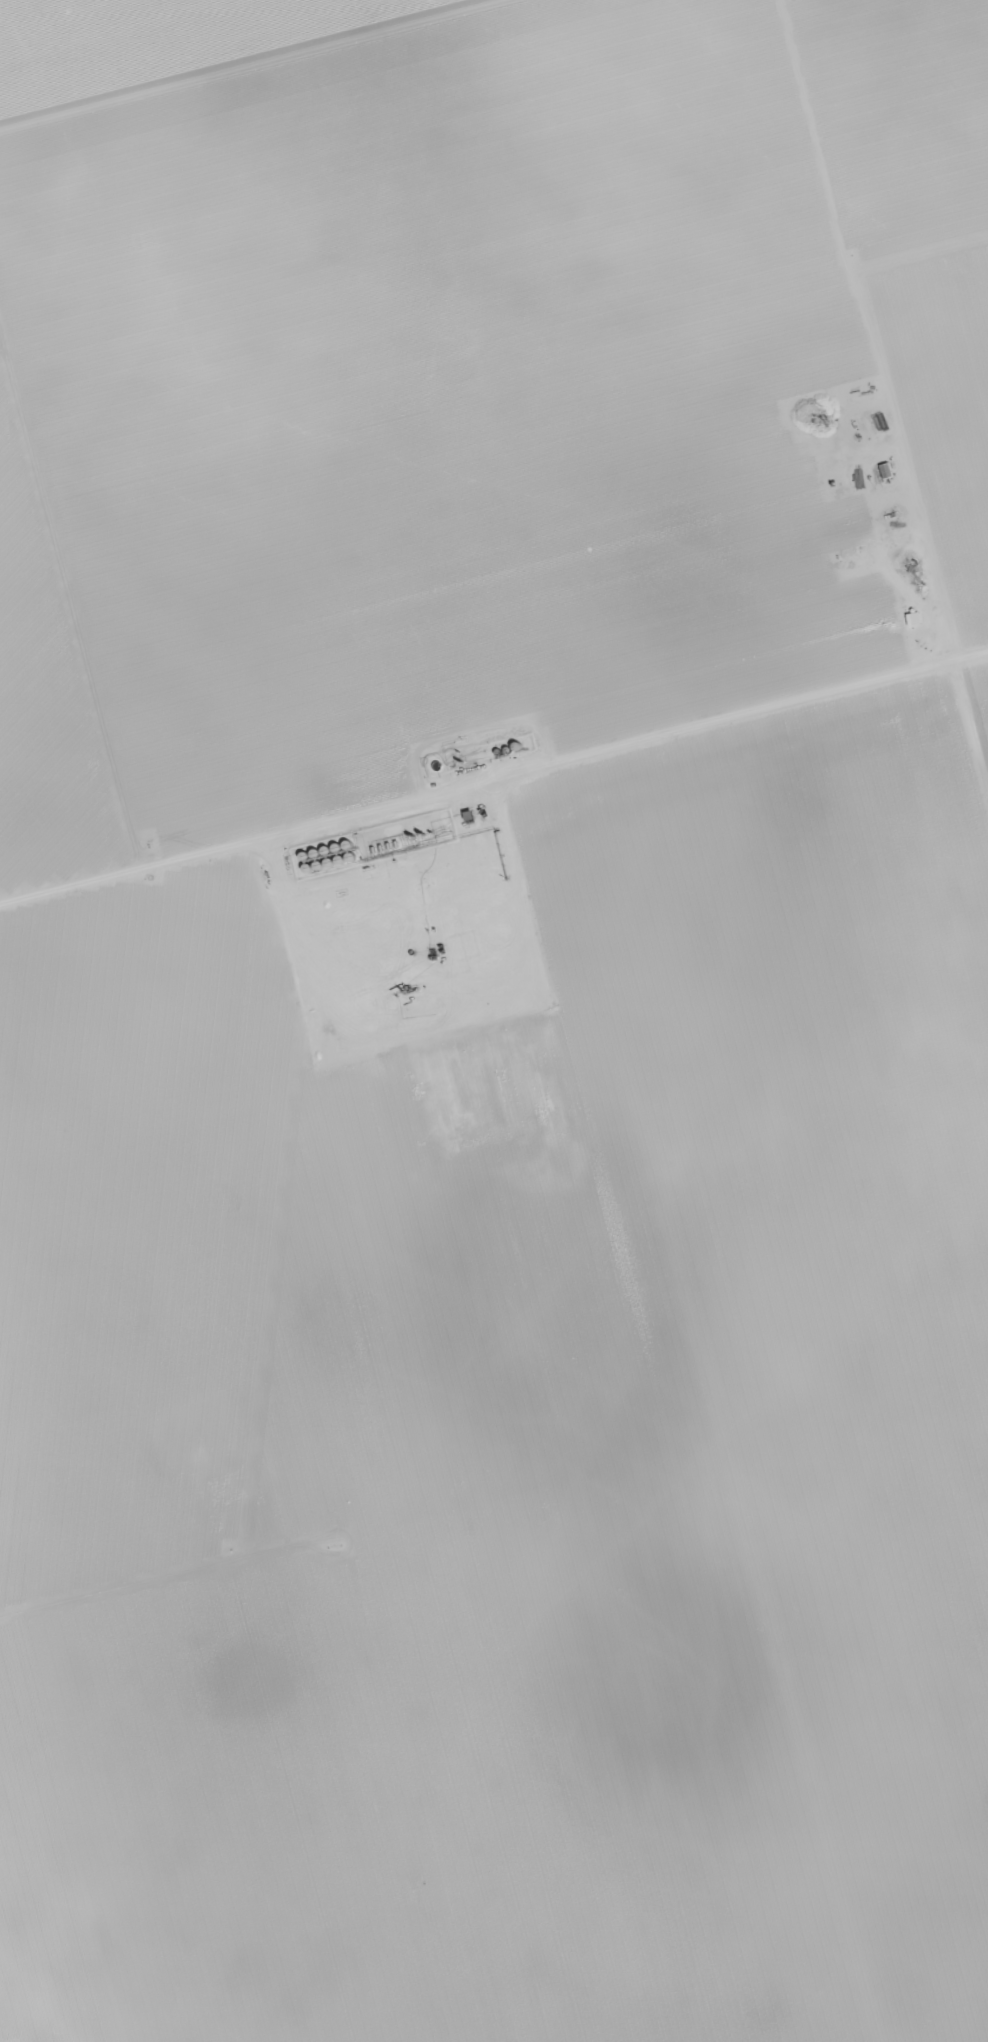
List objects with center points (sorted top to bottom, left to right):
road: (493, 789)

